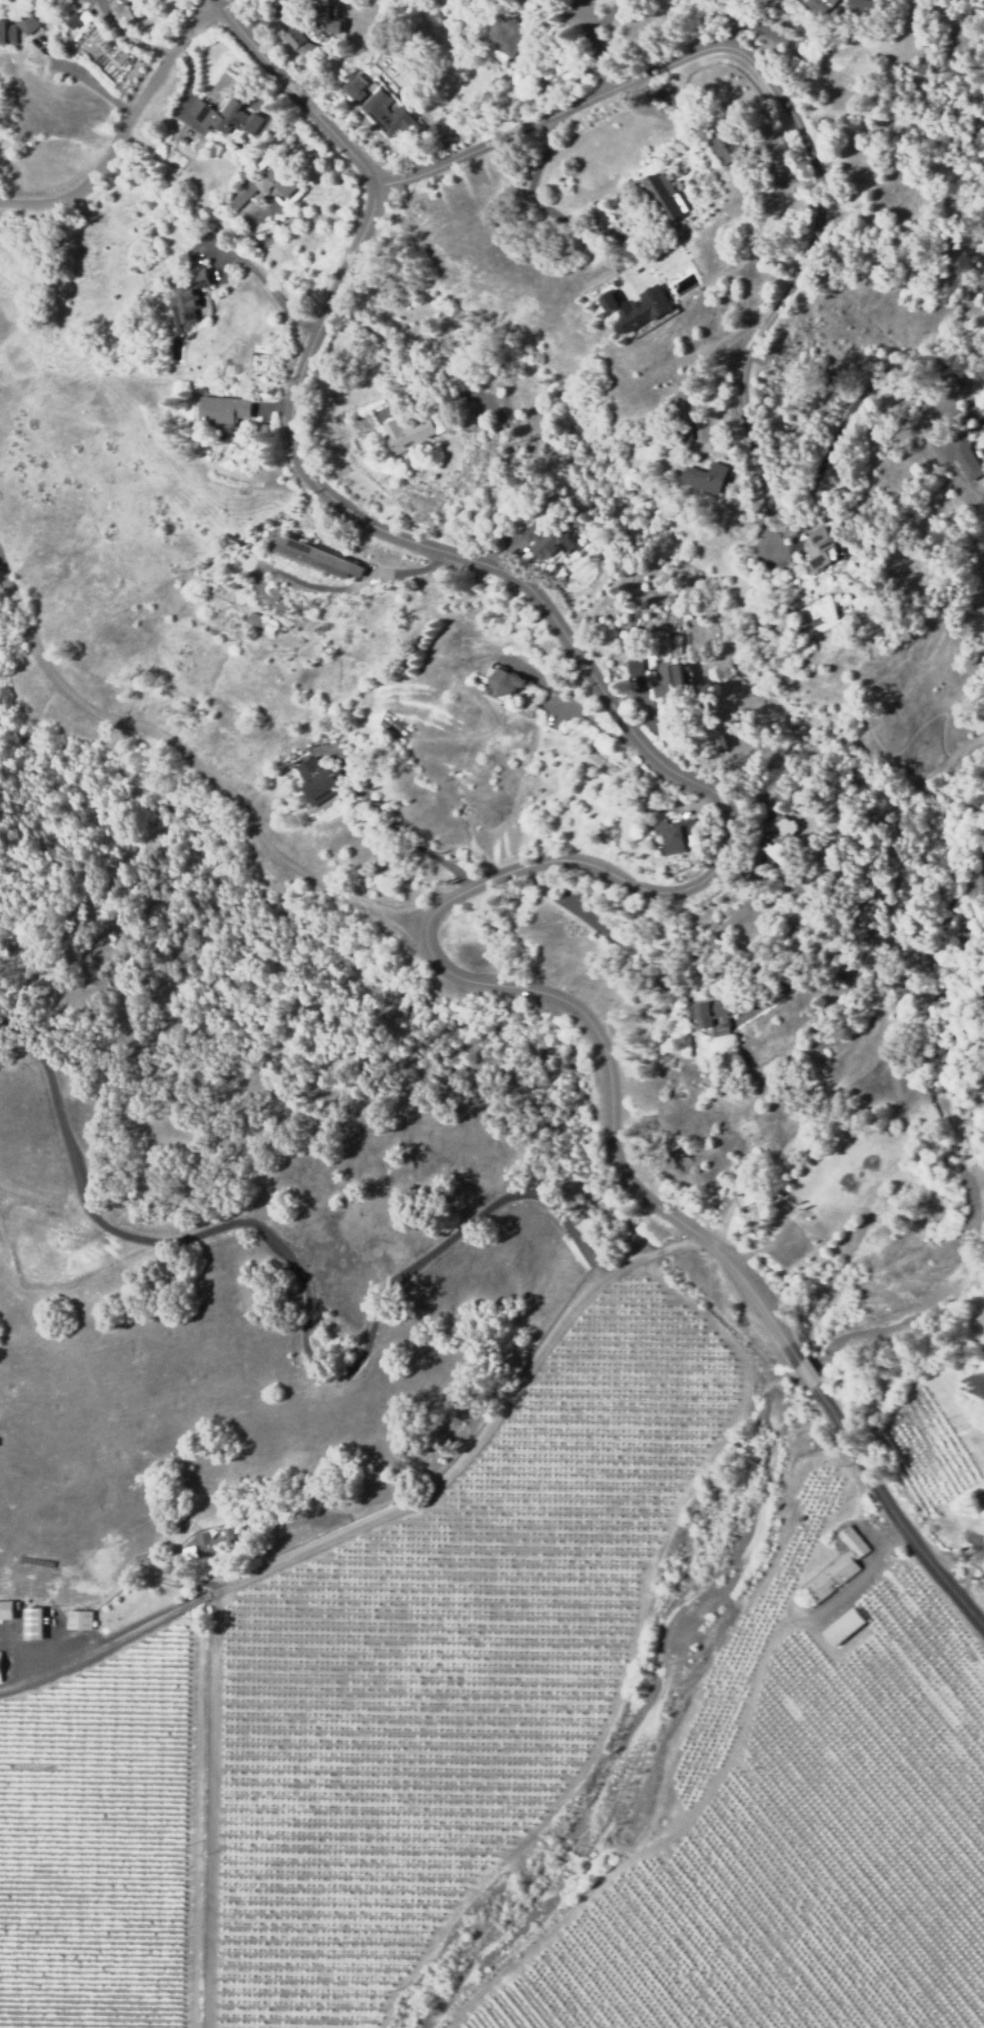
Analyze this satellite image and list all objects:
building: (819, 5)
building: (863, 6)
building: (325, 17)
building: (28, 24)
road: (763, 29)
building: (7, 34)
building: (505, 34)
road: (590, 35)
building: (301, 45)
road: (766, 74)
building: (354, 86)
road: (297, 99)
building: (386, 113)
building: (230, 119)
road: (122, 129)
building: (726, 144)
building: (262, 187)
road: (535, 193)
building: (661, 193)
building: (186, 294)
building: (608, 300)
building: (643, 309)
building: (225, 412)
building: (406, 431)
building: (682, 434)
building: (965, 454)
building: (707, 476)
building: (981, 499)
road: (775, 503)
building: (542, 538)
building: (820, 546)
building: (310, 555)
building: (278, 597)
building: (261, 622)
road: (571, 637)
building: (634, 666)
building: (668, 683)
building: (501, 684)
building: (720, 740)
building: (315, 782)
building: (673, 834)
road: (409, 841)
building: (781, 842)
road: (573, 1000)
building: (709, 1011)
building: (745, 1201)
building: (965, 1392)
building: (975, 1505)
building: (216, 1542)
building: (836, 1569)
building: (6, 1611)
building: (80, 1621)
building: (33, 1625)
building: (843, 1627)
building: (0, 1673)

